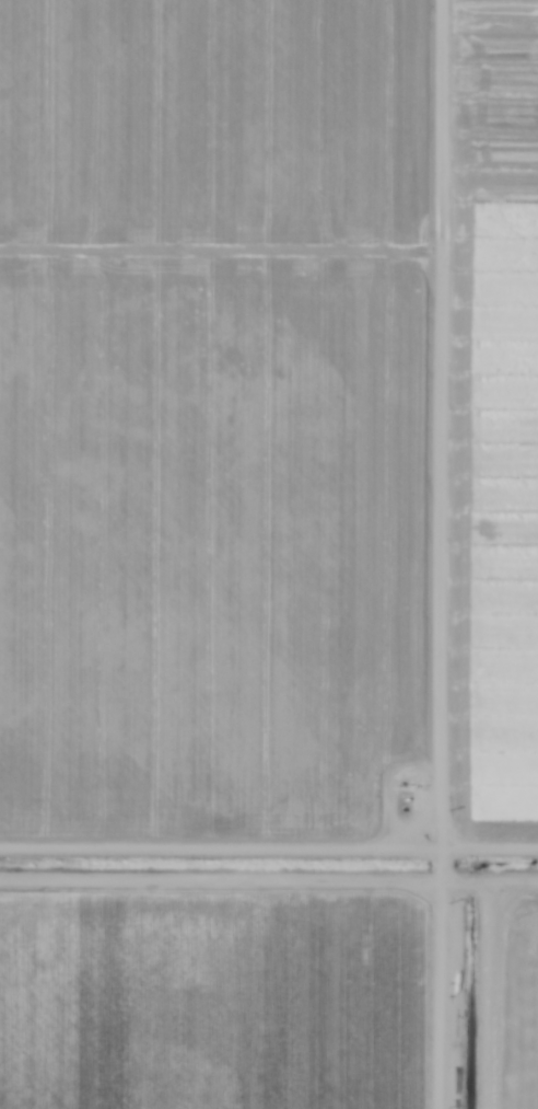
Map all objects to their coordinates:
road: (442, 125)
crop: (269, 554)
road: (445, 679)
road: (268, 851)

